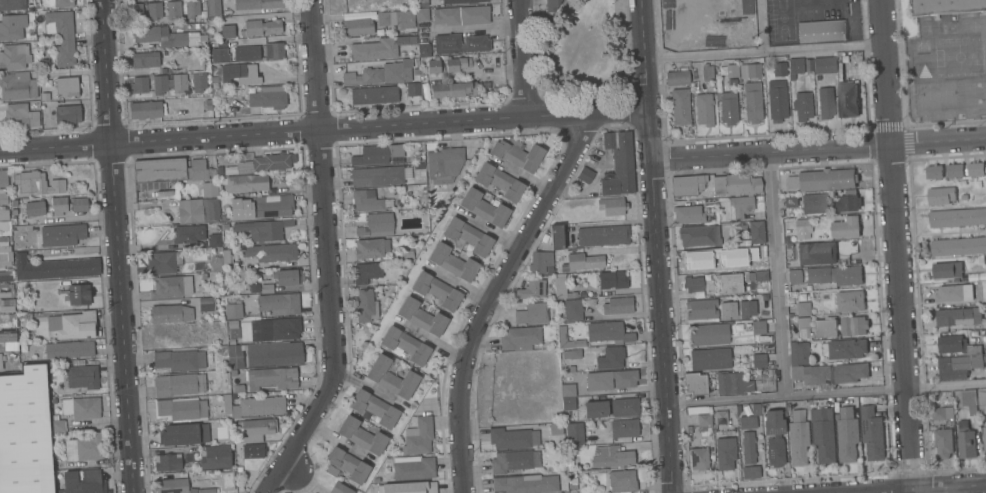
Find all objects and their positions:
building: (163, 0)
building: (420, 1)
building: (460, 1)
building: (63, 3)
building: (257, 4)
building: (11, 5)
building: (551, 5)
building: (949, 6)
building: (213, 7)
building: (191, 8)
building: (30, 9)
building: (36, 9)
building: (173, 9)
building: (134, 11)
building: (154, 11)
building: (421, 15)
building: (461, 15)
building: (397, 19)
road: (759, 26)
building: (12, 27)
building: (356, 27)
building: (261, 28)
road: (474, 28)
road: (656, 29)
building: (226, 31)
building: (821, 31)
building: (31, 34)
building: (61, 37)
building: (166, 37)
building: (476, 44)
building: (379, 48)
building: (423, 50)
park: (583, 50)
building: (273, 51)
road: (763, 51)
building: (246, 54)
building: (219, 55)
building: (14, 57)
road: (522, 57)
building: (146, 62)
building: (455, 64)
building: (824, 65)
building: (204, 66)
building: (433, 67)
building: (795, 67)
building: (779, 69)
building: (730, 70)
building: (753, 71)
building: (707, 73)
building: (237, 74)
building: (380, 74)
building: (677, 78)
building: (199, 82)
building: (179, 83)
building: (159, 85)
road: (576, 85)
building: (138, 86)
building: (17, 87)
building: (66, 87)
building: (413, 90)
building: (452, 90)
road: (551, 93)
building: (373, 96)
building: (268, 97)
building: (848, 99)
road: (582, 102)
building: (752, 102)
road: (903, 102)
building: (825, 103)
building: (777, 104)
building: (208, 105)
building: (802, 106)
building: (680, 107)
building: (727, 108)
building: (146, 110)
building: (704, 110)
building: (67, 114)
building: (19, 117)
road: (322, 128)
road: (818, 148)
building: (377, 155)
building: (517, 155)
building: (416, 158)
building: (219, 159)
building: (259, 164)
building: (618, 164)
building: (443, 165)
building: (418, 167)
building: (975, 169)
building: (955, 170)
building: (934, 171)
building: (169, 173)
building: (585, 175)
building: (376, 177)
building: (2, 178)
building: (822, 180)
building: (498, 182)
building: (38, 183)
building: (244, 183)
building: (741, 184)
building: (687, 185)
building: (209, 190)
building: (941, 195)
building: (3, 197)
building: (423, 197)
building: (964, 197)
building: (487, 198)
building: (758, 199)
building: (491, 200)
building: (369, 201)
building: (790, 201)
building: (13, 203)
building: (814, 203)
building: (848, 203)
building: (58, 205)
building: (79, 205)
building: (612, 206)
building: (741, 206)
building: (261, 207)
building: (483, 208)
building: (34, 209)
building: (197, 211)
building: (13, 212)
building: (4, 213)
building: (688, 214)
building: (957, 217)
building: (224, 218)
road: (614, 223)
building: (801, 225)
building: (3, 226)
building: (376, 226)
building: (225, 227)
building: (846, 227)
building: (263, 230)
building: (756, 233)
building: (188, 234)
building: (61, 235)
building: (467, 236)
building: (602, 236)
building: (699, 236)
building: (557, 237)
building: (213, 240)
building: (413, 240)
building: (3, 241)
building: (786, 241)
building: (386, 245)
road: (118, 246)
road: (655, 246)
road: (893, 246)
building: (958, 246)
building: (786, 247)
building: (368, 249)
building: (218, 250)
building: (574, 251)
building: (271, 252)
road: (78, 253)
building: (817, 253)
building: (405, 254)
building: (557, 255)
road: (325, 256)
building: (226, 257)
building: (5, 259)
building: (984, 260)
building: (540, 261)
building: (163, 262)
building: (214, 262)
building: (582, 262)
building: (452, 263)
building: (53, 268)
building: (947, 270)
building: (366, 272)
road: (775, 274)
building: (834, 275)
building: (5, 276)
building: (761, 276)
building: (794, 277)
building: (287, 278)
building: (612, 280)
building: (729, 283)
building: (692, 284)
building: (170, 287)
building: (266, 288)
building: (561, 289)
building: (6, 290)
building: (530, 290)
building: (436, 291)
building: (954, 293)
road: (490, 294)
building: (77, 295)
building: (850, 301)
building: (4, 303)
building: (279, 304)
building: (206, 305)
building: (366, 306)
building: (617, 306)
building: (747, 309)
building: (802, 309)
building: (572, 310)
building: (727, 310)
building: (233, 311)
building: (701, 311)
building: (170, 314)
building: (535, 314)
building: (420, 317)
building: (958, 317)
building: (7, 320)
building: (803, 323)
building: (72, 326)
building: (853, 326)
building: (757, 327)
building: (826, 327)
building: (275, 330)
building: (28, 331)
building: (232, 332)
building: (561, 333)
building: (608, 333)
building: (707, 335)
building: (7, 336)
building: (519, 338)
building: (951, 344)
building: (405, 345)
building: (844, 349)
building: (68, 350)
building: (571, 354)
building: (798, 354)
building: (265, 355)
building: (610, 358)
building: (709, 359)
building: (1, 361)
building: (179, 361)
building: (757, 361)
building: (957, 367)
building: (232, 373)
building: (830, 374)
building: (82, 377)
building: (391, 378)
building: (268, 380)
building: (610, 380)
building: (695, 384)
building: (732, 384)
building: (178, 385)
building: (568, 391)
road: (825, 393)
building: (949, 399)
building: (982, 400)
building: (54, 401)
building: (970, 401)
building: (568, 404)
building: (226, 405)
building: (261, 406)
building: (81, 408)
building: (373, 408)
building: (624, 408)
building: (181, 410)
building: (595, 410)
building: (755, 410)
building: (234, 412)
building: (943, 414)
building: (701, 418)
building: (720, 418)
building: (747, 423)
building: (58, 427)
building: (556, 427)
building: (624, 428)
building: (254, 430)
building: (25, 433)
building: (872, 433)
building: (183, 434)
building: (574, 434)
building: (823, 434)
building: (847, 435)
building: (361, 436)
building: (419, 437)
building: (798, 438)
building: (984, 438)
building: (512, 439)
building: (774, 439)
building: (943, 443)
building: (966, 444)
building: (84, 448)
building: (748, 448)
building: (252, 451)
building: (725, 453)
building: (215, 457)
building: (611, 457)
building: (698, 459)
building: (514, 461)
building: (167, 463)
building: (348, 466)
building: (412, 468)
building: (188, 469)
building: (750, 472)
building: (622, 481)
building: (82, 482)
building: (225, 482)
building: (525, 484)
building: (572, 484)
building: (171, 486)
building: (339, 488)
building: (408, 488)
road: (919, 489)
road: (944, 490)
building: (192, 491)
building: (206, 491)

